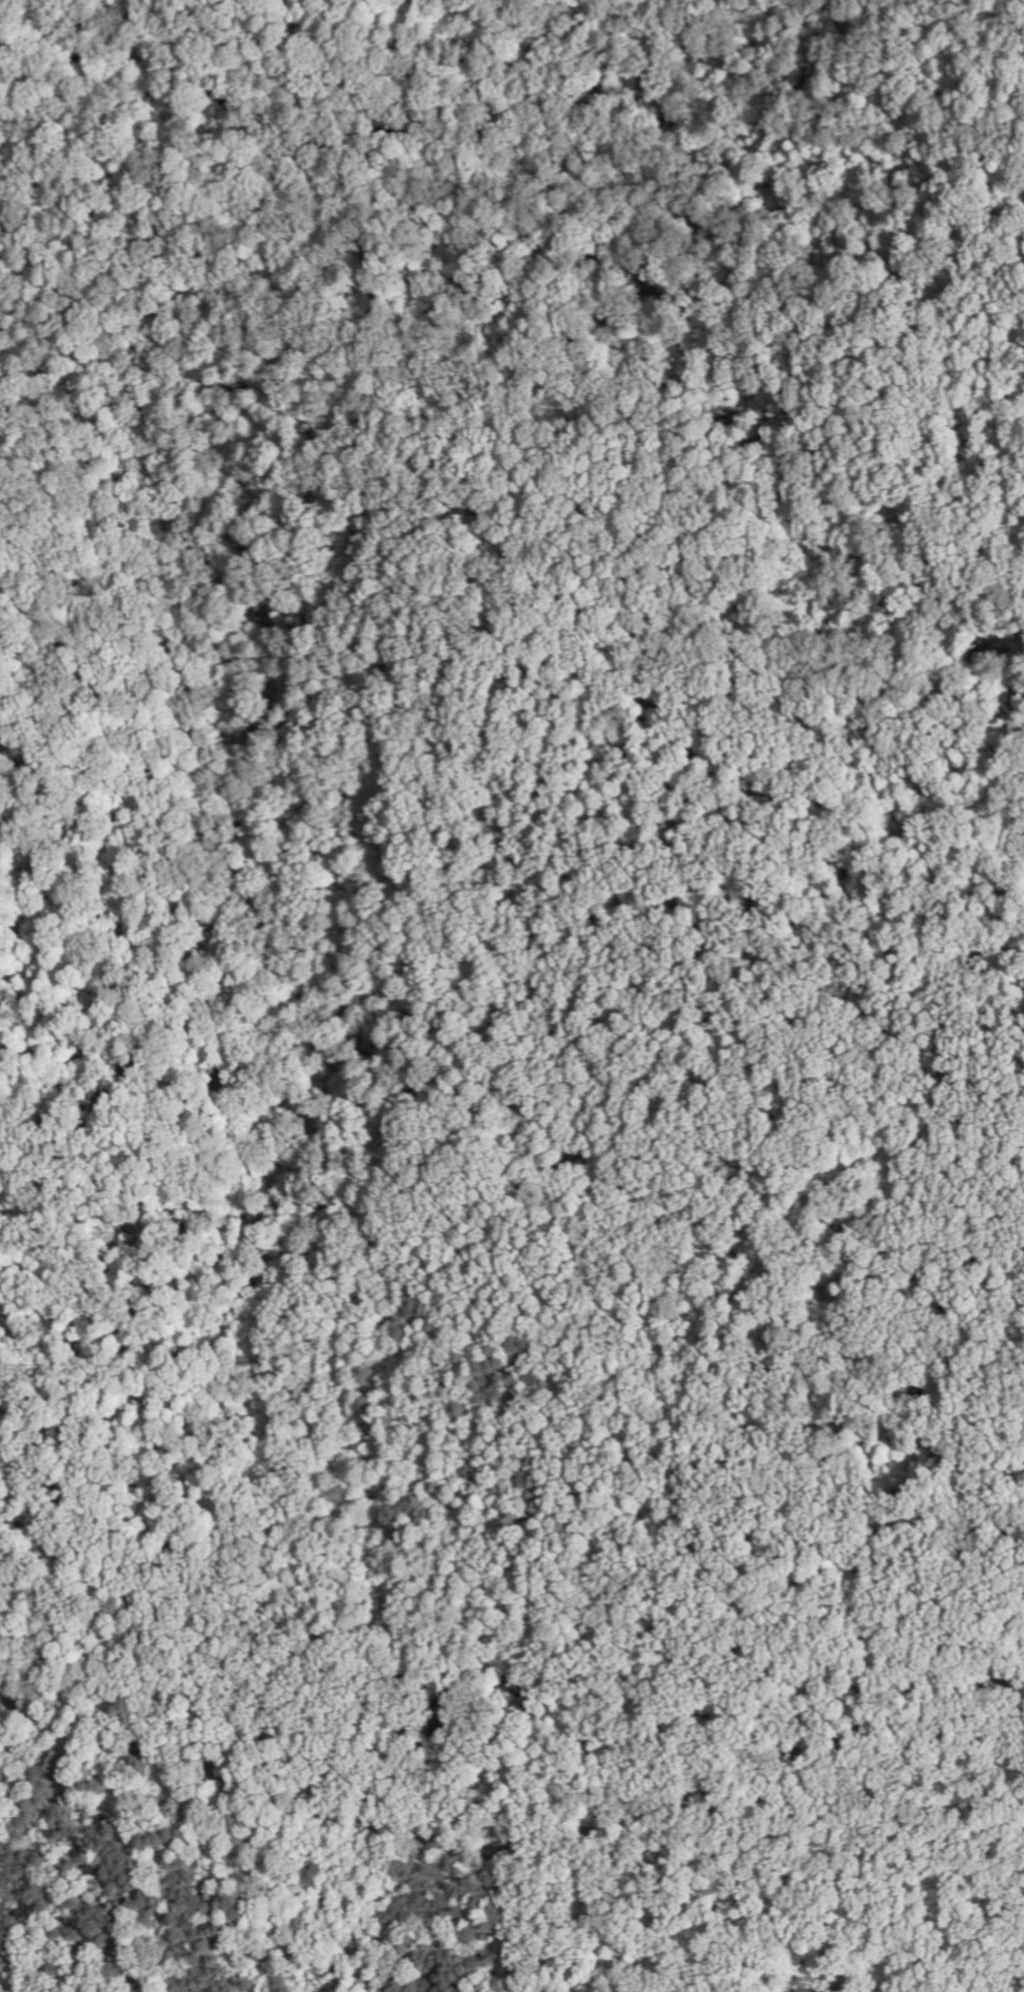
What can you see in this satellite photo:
road: (513, 1847)

